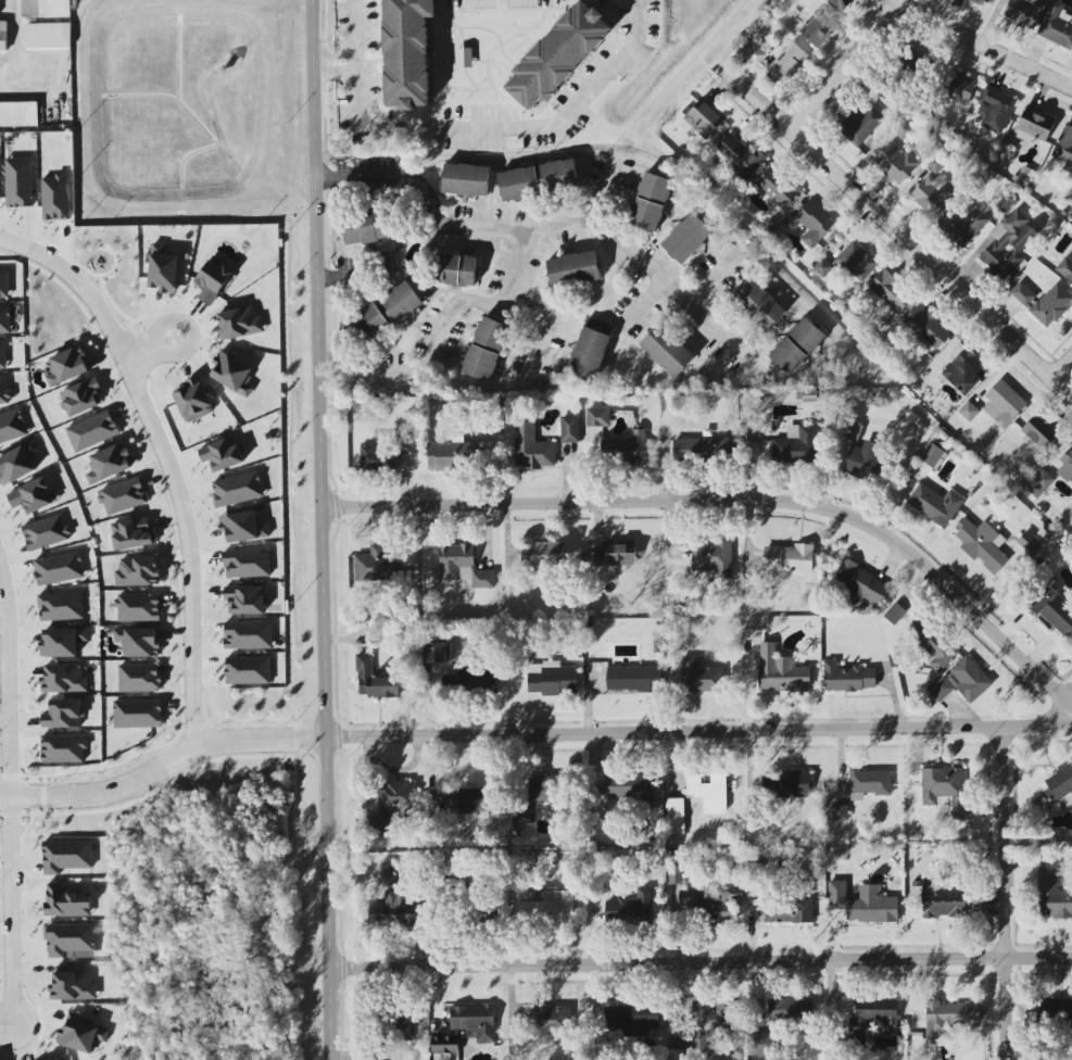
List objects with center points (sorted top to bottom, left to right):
building: (978, 2)
building: (46, 9)
building: (1024, 12)
road: (912, 14)
road: (14, 25)
building: (1057, 25)
building: (819, 27)
building: (3, 36)
building: (47, 38)
building: (407, 52)
building: (558, 55)
building: (463, 59)
road: (354, 60)
building: (912, 61)
building: (779, 63)
building: (960, 87)
building: (995, 109)
building: (18, 115)
building: (702, 119)
building: (862, 125)
building: (1035, 126)
road: (471, 127)
building: (1064, 146)
building: (741, 156)
building: (896, 163)
building: (935, 165)
building: (559, 176)
building: (466, 180)
building: (18, 182)
building: (519, 185)
building: (778, 187)
building: (934, 193)
building: (55, 198)
building: (651, 201)
road: (581, 223)
building: (815, 223)
building: (963, 225)
building: (367, 227)
road: (898, 235)
building: (689, 238)
building: (1008, 244)
building: (857, 261)
road: (516, 267)
building: (823, 267)
building: (1067, 267)
building: (162, 269)
building: (456, 269)
building: (573, 269)
building: (212, 280)
road: (664, 283)
building: (4, 285)
building: (891, 292)
road: (644, 300)
building: (1044, 302)
building: (759, 304)
building: (392, 308)
building: (5, 319)
building: (240, 323)
road: (715, 325)
building: (928, 327)
building: (797, 346)
building: (590, 349)
building: (669, 349)
road: (149, 350)
building: (488, 350)
building: (2, 355)
building: (65, 366)
road: (1061, 367)
building: (963, 369)
building: (232, 374)
building: (4, 391)
building: (809, 394)
building: (81, 396)
building: (194, 400)
building: (1004, 404)
building: (969, 411)
building: (598, 417)
building: (12, 426)
building: (569, 429)
building: (92, 431)
building: (852, 431)
building: (1041, 431)
building: (796, 445)
building: (402, 446)
building: (532, 447)
building: (707, 450)
building: (451, 453)
building: (222, 454)
building: (932, 455)
building: (374, 458)
building: (865, 460)
building: (109, 463)
road: (165, 463)
building: (17, 464)
building: (1067, 466)
building: (1039, 483)
building: (237, 489)
building: (33, 496)
building: (123, 496)
road: (731, 502)
building: (935, 505)
road: (288, 519)
building: (242, 527)
road: (321, 530)
building: (46, 532)
building: (133, 533)
building: (1029, 543)
building: (982, 544)
building: (542, 554)
building: (616, 555)
building: (712, 557)
building: (789, 558)
building: (248, 564)
building: (375, 566)
building: (463, 566)
building: (59, 568)
building: (138, 572)
building: (861, 584)
building: (245, 600)
building: (61, 606)
building: (138, 607)
building: (1054, 610)
building: (895, 613)
building: (249, 635)
building: (62, 642)
building: (139, 642)
building: (934, 645)
building: (648, 651)
building: (436, 652)
building: (248, 670)
building: (781, 671)
building: (704, 677)
building: (139, 678)
building: (848, 678)
building: (64, 679)
building: (552, 679)
building: (633, 679)
building: (373, 680)
building: (962, 682)
building: (64, 714)
building: (138, 714)
road: (1045, 723)
road: (496, 735)
building: (63, 748)
road: (302, 762)
building: (792, 783)
building: (869, 783)
building: (630, 785)
building: (1060, 788)
building: (946, 790)
building: (709, 792)
road: (10, 798)
building: (395, 802)
building: (466, 802)
road: (42, 806)
building: (840, 812)
building: (674, 816)
building: (66, 856)
building: (676, 869)
road: (1008, 893)
building: (1052, 894)
building: (941, 900)
building: (67, 901)
building: (710, 901)
building: (863, 903)
building: (631, 907)
building: (547, 908)
building: (393, 911)
building: (789, 911)
building: (71, 941)
road: (701, 961)
building: (72, 986)
building: (1057, 1010)
building: (876, 1012)
building: (949, 1017)
building: (550, 1020)
building: (706, 1022)
building: (404, 1024)
building: (467, 1026)
building: (773, 1026)
building: (83, 1036)
building: (376, 1059)

